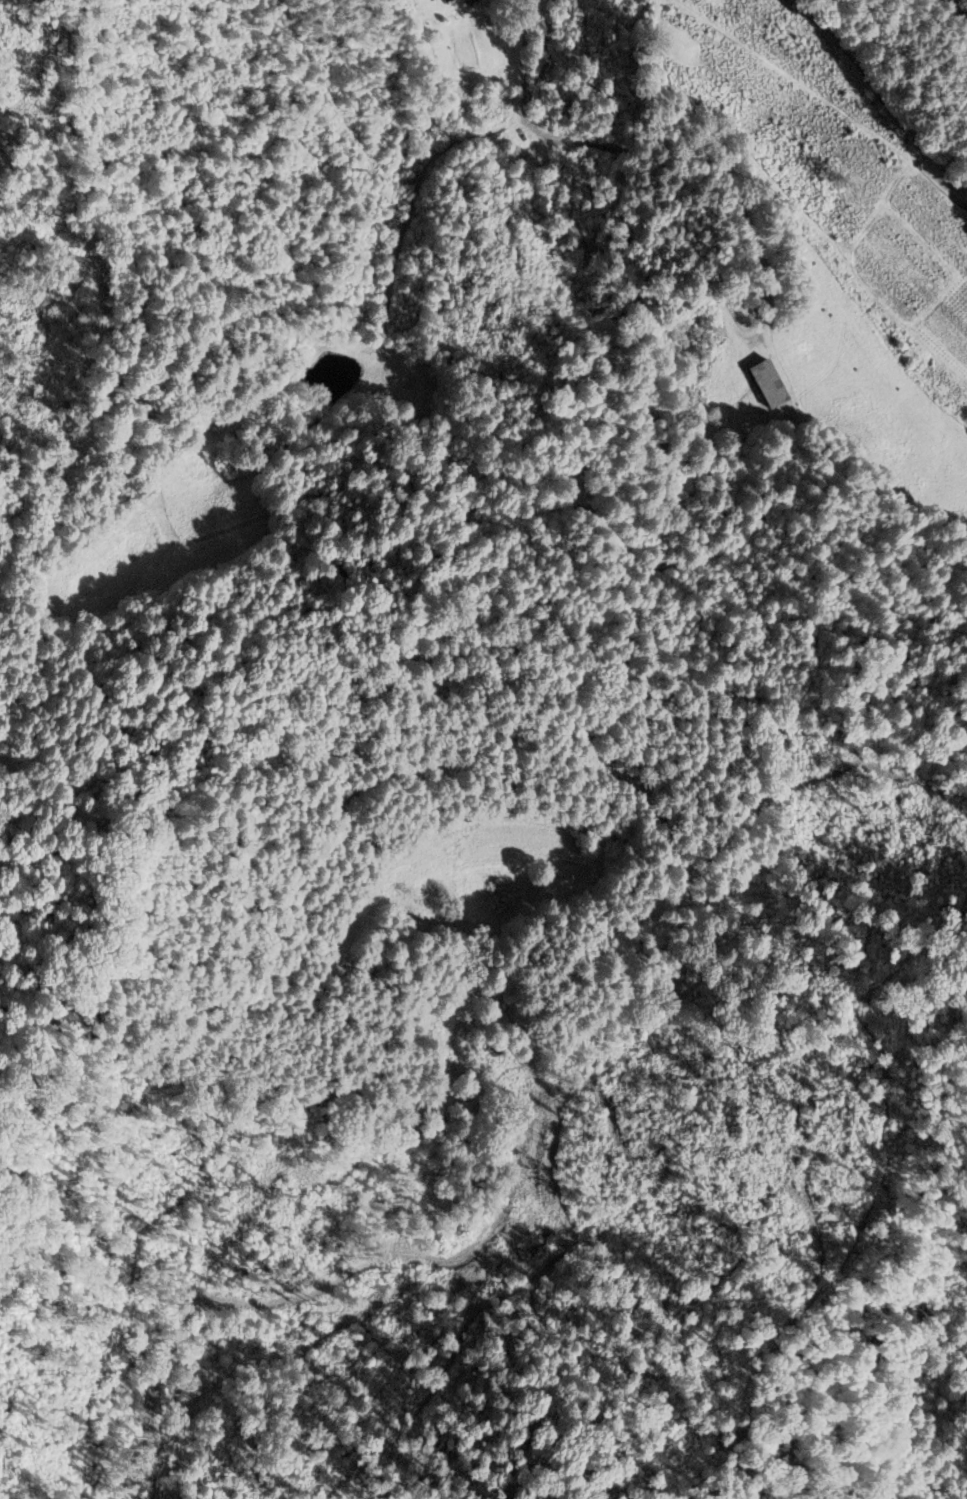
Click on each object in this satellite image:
road: (942, 189)

